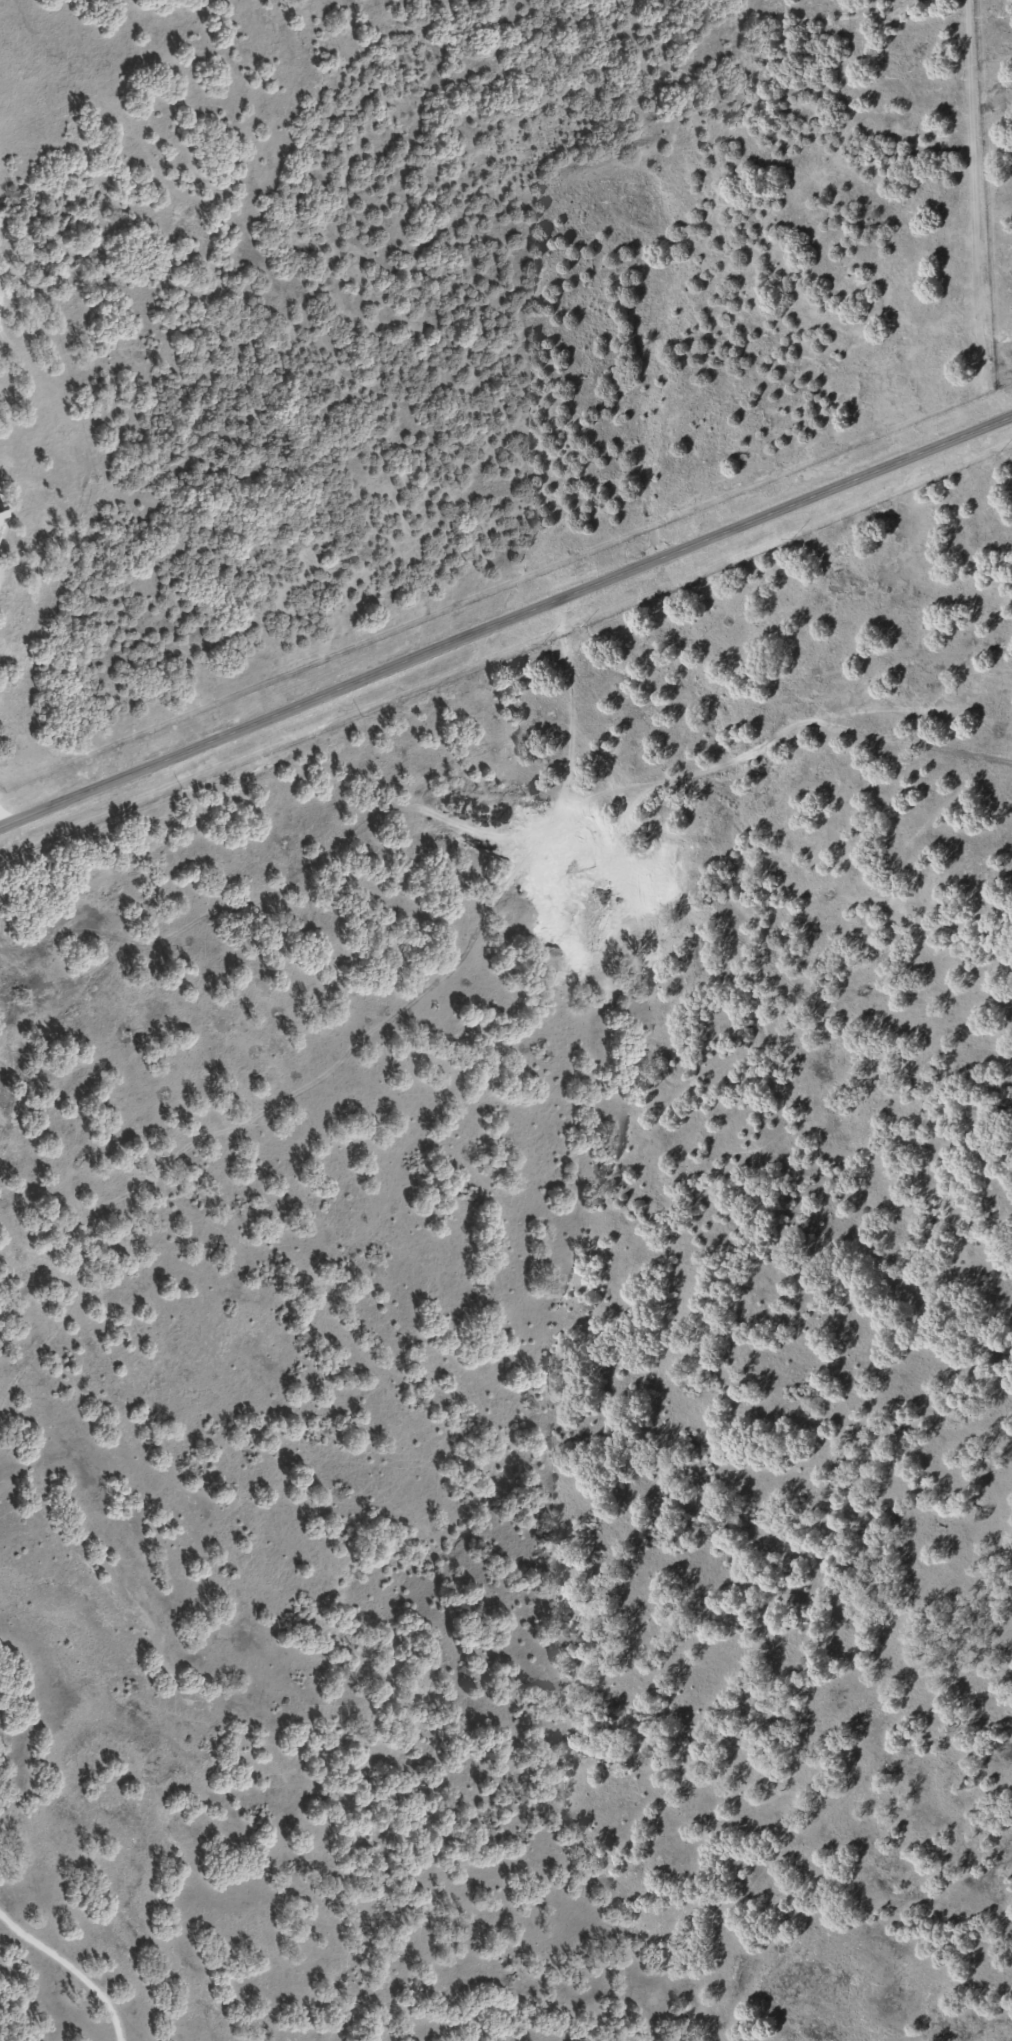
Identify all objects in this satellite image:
road: (981, 214)
road: (505, 627)

